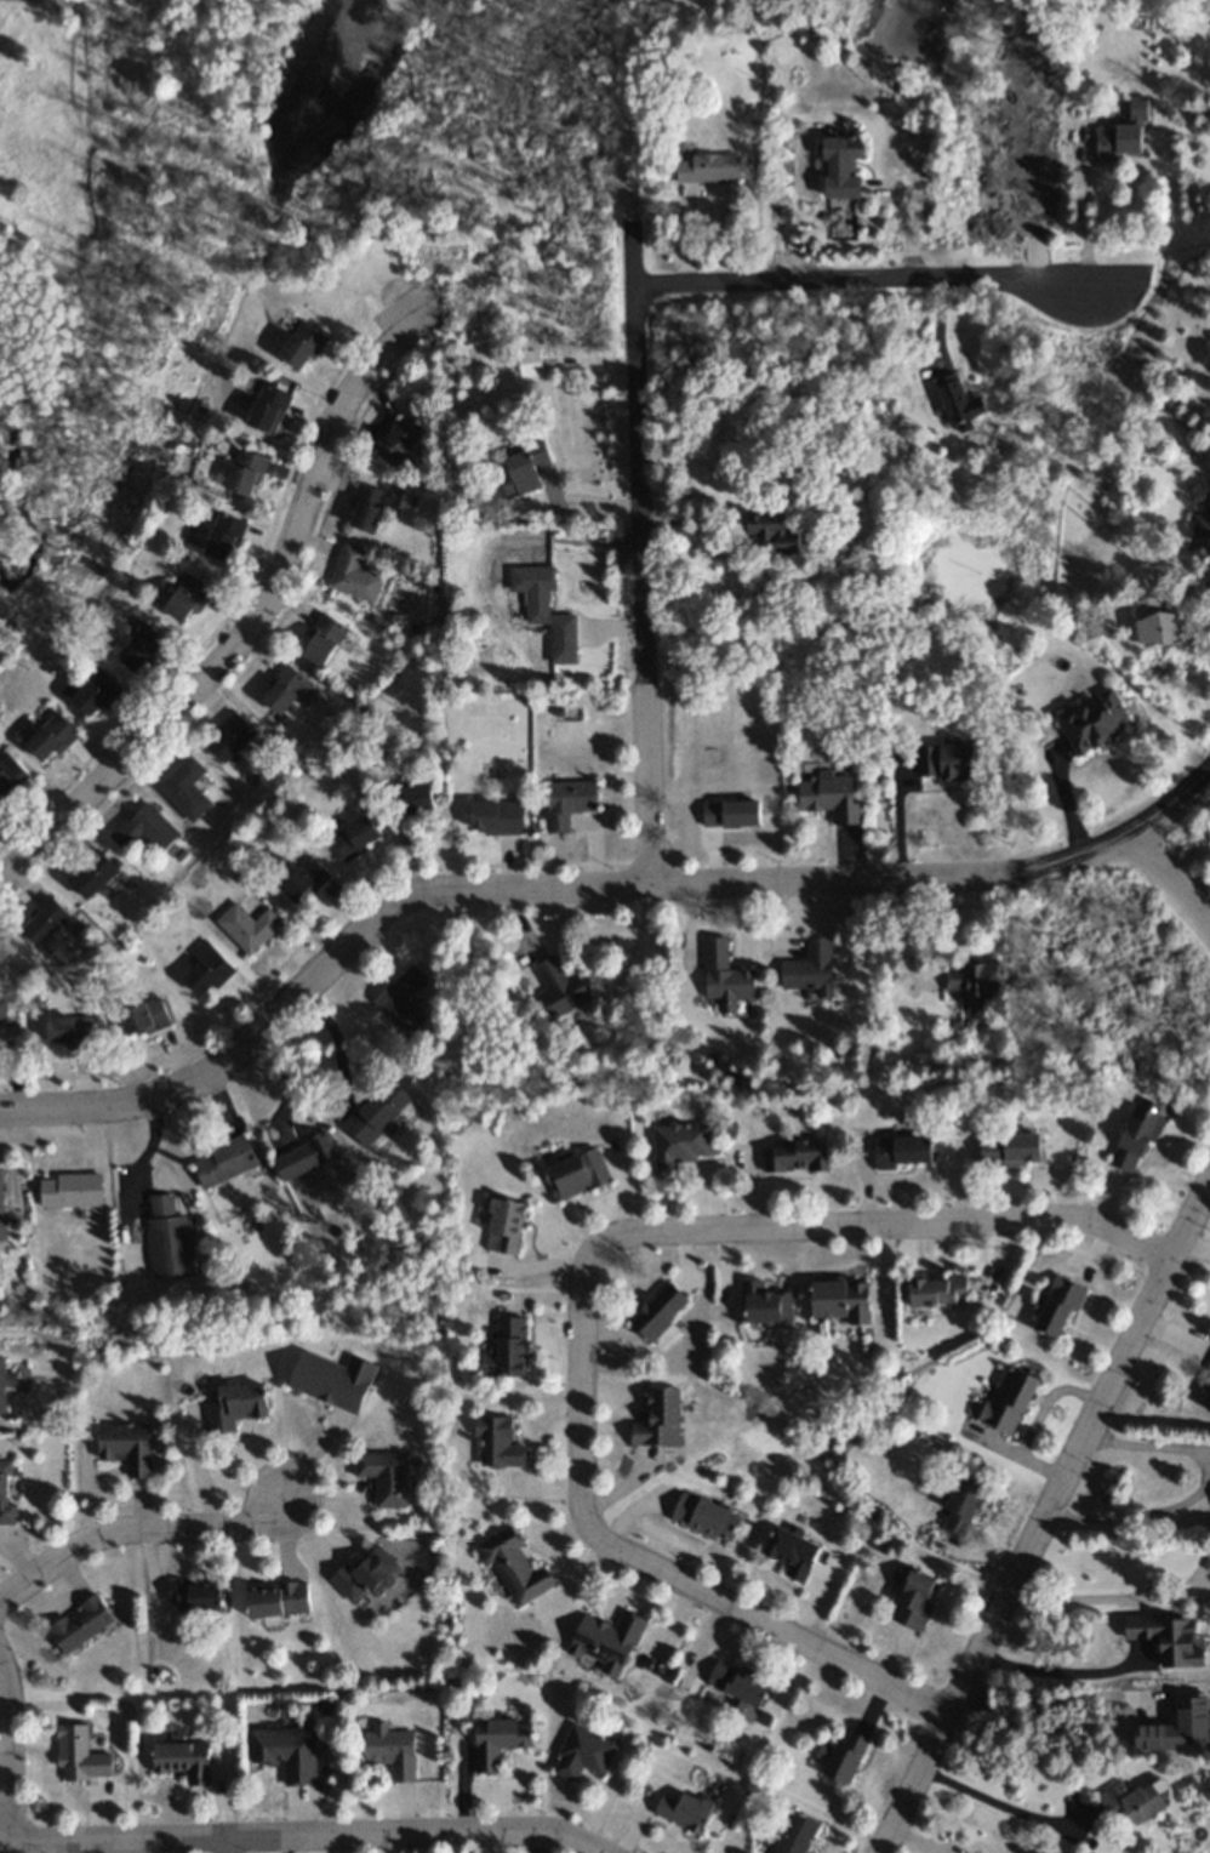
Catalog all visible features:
building: (1124, 133)
building: (707, 169)
building: (841, 169)
park: (542, 172)
park: (182, 238)
road: (855, 279)
building: (302, 346)
building: (957, 401)
building: (268, 410)
building: (394, 441)
building: (525, 469)
building: (245, 474)
building: (365, 509)
building: (1202, 528)
building: (774, 534)
building: (223, 538)
road: (644, 553)
building: (352, 576)
building: (532, 592)
building: (187, 600)
road: (250, 621)
building: (1159, 621)
building: (320, 640)
building: (139, 650)
building: (281, 690)
building: (95, 695)
building: (1094, 722)
building: (50, 739)
building: (233, 741)
building: (953, 759)
building: (11, 781)
building: (183, 789)
building: (831, 799)
building: (567, 803)
building: (407, 804)
building: (731, 814)
building: (496, 817)
building: (143, 828)
building: (354, 839)
building: (91, 874)
building: (298, 877)
road: (1170, 877)
road: (586, 883)
building: (44, 919)
building: (247, 925)
building: (205, 968)
building: (810, 968)
building: (725, 975)
building: (972, 979)
building: (559, 988)
building: (401, 999)
building: (143, 1016)
building: (1, 1024)
building: (68, 1030)
building: (376, 1112)
building: (1137, 1139)
building: (1010, 1148)
building: (902, 1150)
building: (681, 1151)
building: (797, 1154)
building: (304, 1158)
building: (224, 1163)
building: (576, 1175)
building: (68, 1190)
building: (0, 1203)
building: (504, 1226)
building: (166, 1237)
building: (938, 1289)
road: (580, 1293)
building: (841, 1298)
building: (1058, 1305)
building: (658, 1311)
building: (503, 1349)
building: (2, 1385)
building: (1206, 1398)
building: (1008, 1399)
building: (235, 1404)
building: (658, 1418)
building: (495, 1442)
road: (1147, 1443)
building: (125, 1446)
building: (383, 1476)
building: (6, 1494)
building: (963, 1505)
road: (1041, 1512)
building: (704, 1516)
road: (1132, 1516)
road: (133, 1530)
building: (792, 1553)
building: (512, 1566)
building: (365, 1575)
building: (195, 1597)
building: (914, 1598)
building: (276, 1600)
road: (1105, 1606)
building: (79, 1623)
building: (605, 1641)
road: (1051, 1678)
building: (738, 1682)
building: (498, 1740)
building: (390, 1750)
building: (285, 1751)
building: (583, 1751)
building: (79, 1754)
building: (845, 1755)
road: (6, 1758)
building: (182, 1758)
building: (1137, 1800)
road: (1001, 1802)
building: (683, 1809)
road: (308, 1832)
building: (797, 1834)
road: (229, 1843)

